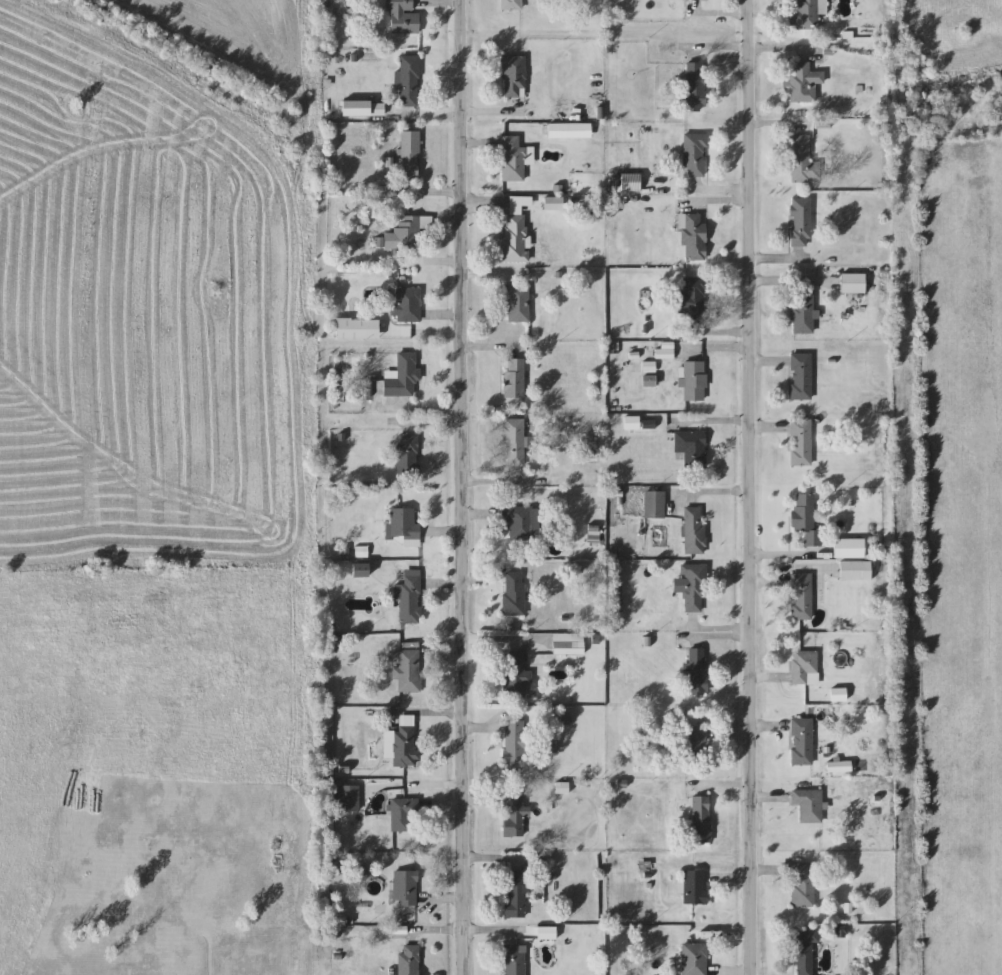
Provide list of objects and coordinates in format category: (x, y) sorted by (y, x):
building: (698, 0)
building: (512, 5)
building: (806, 14)
road: (719, 16)
building: (403, 18)
road: (777, 51)
building: (514, 77)
building: (409, 81)
building: (804, 82)
building: (695, 87)
road: (458, 116)
road: (781, 126)
building: (409, 155)
building: (695, 155)
building: (513, 159)
building: (803, 161)
building: (629, 183)
road: (720, 192)
road: (450, 196)
road: (718, 203)
building: (801, 221)
building: (515, 228)
building: (407, 232)
building: (694, 237)
road: (778, 261)
road: (493, 280)
building: (852, 283)
road: (780, 285)
building: (690, 299)
building: (517, 304)
building: (407, 305)
building: (801, 313)
road: (446, 316)
road: (493, 350)
road: (711, 352)
building: (402, 376)
building: (800, 377)
building: (514, 380)
building: (694, 382)
road: (425, 412)
road: (432, 424)
road: (709, 424)
building: (514, 443)
building: (800, 443)
building: (691, 449)
building: (407, 456)
road: (463, 467)
road: (749, 487)
road: (714, 495)
building: (655, 505)
building: (806, 520)
building: (519, 522)
building: (404, 526)
building: (694, 531)
building: (848, 549)
road: (785, 556)
building: (360, 570)
building: (855, 571)
building: (694, 588)
building: (514, 594)
building: (410, 597)
building: (801, 597)
road: (720, 634)
building: (568, 644)
building: (805, 668)
building: (408, 670)
building: (698, 672)
building: (516, 674)
building: (697, 741)
building: (802, 741)
building: (550, 742)
building: (516, 743)
building: (405, 746)
road: (719, 786)
building: (350, 799)
building: (808, 805)
building: (403, 813)
building: (514, 815)
building: (701, 820)
road: (715, 882)
building: (802, 885)
building: (695, 888)
building: (405, 889)
building: (516, 895)
building: (804, 953)
road: (463, 954)
building: (694, 959)
building: (410, 960)
building: (514, 960)

